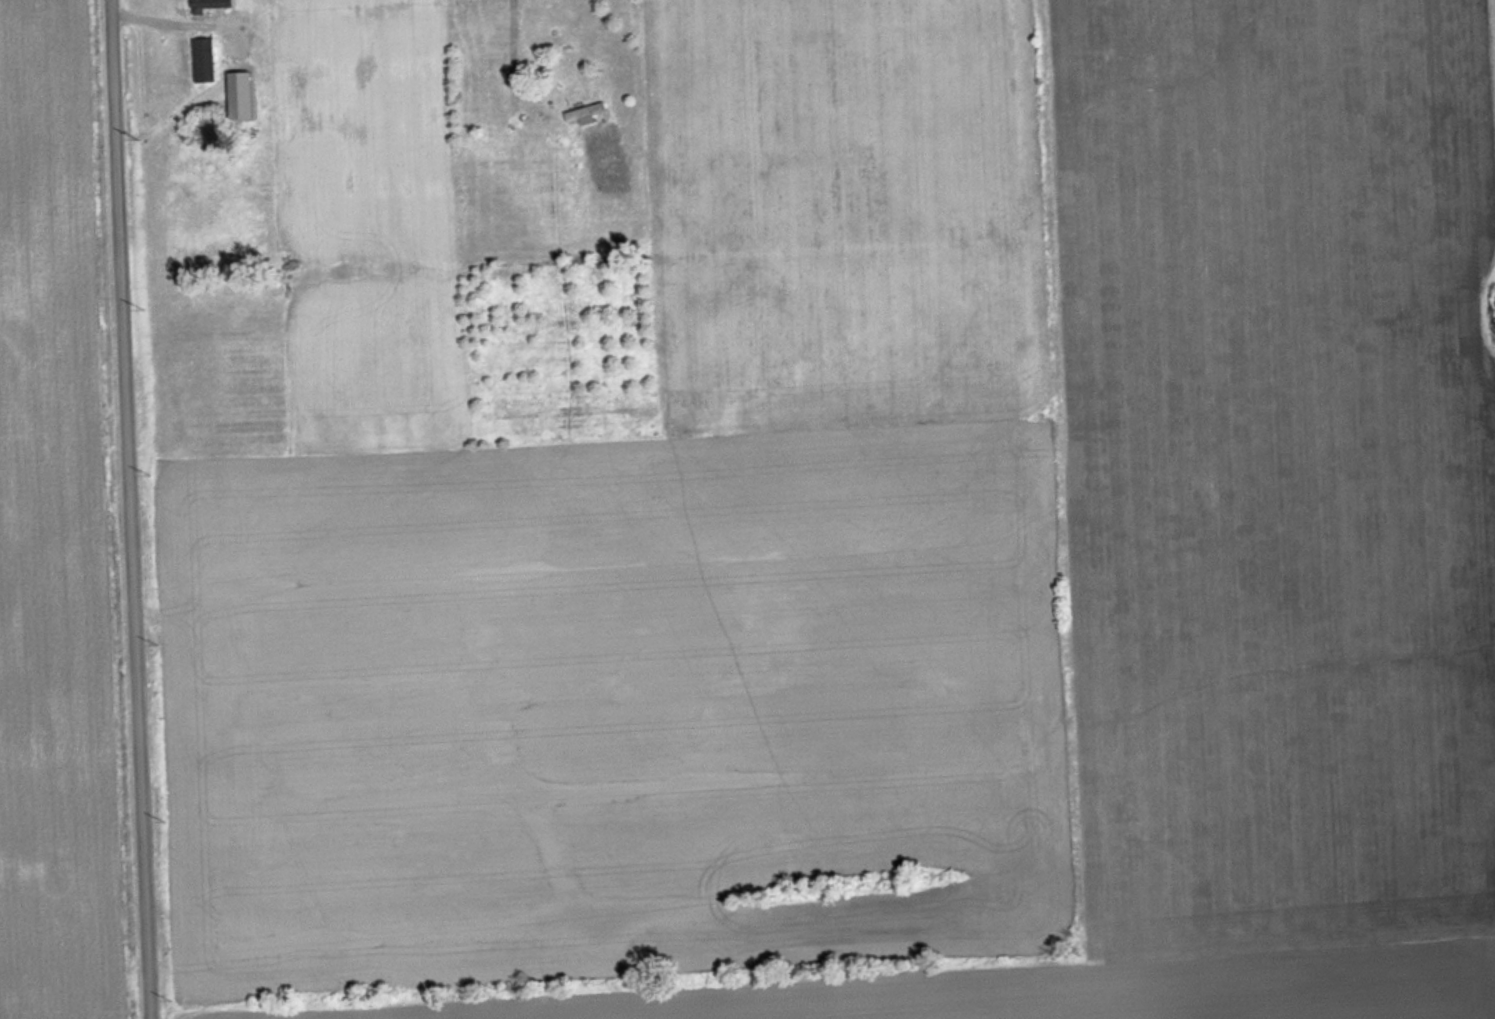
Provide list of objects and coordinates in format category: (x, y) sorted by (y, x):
building: (214, 6)
building: (206, 60)
building: (588, 114)
road: (126, 509)

